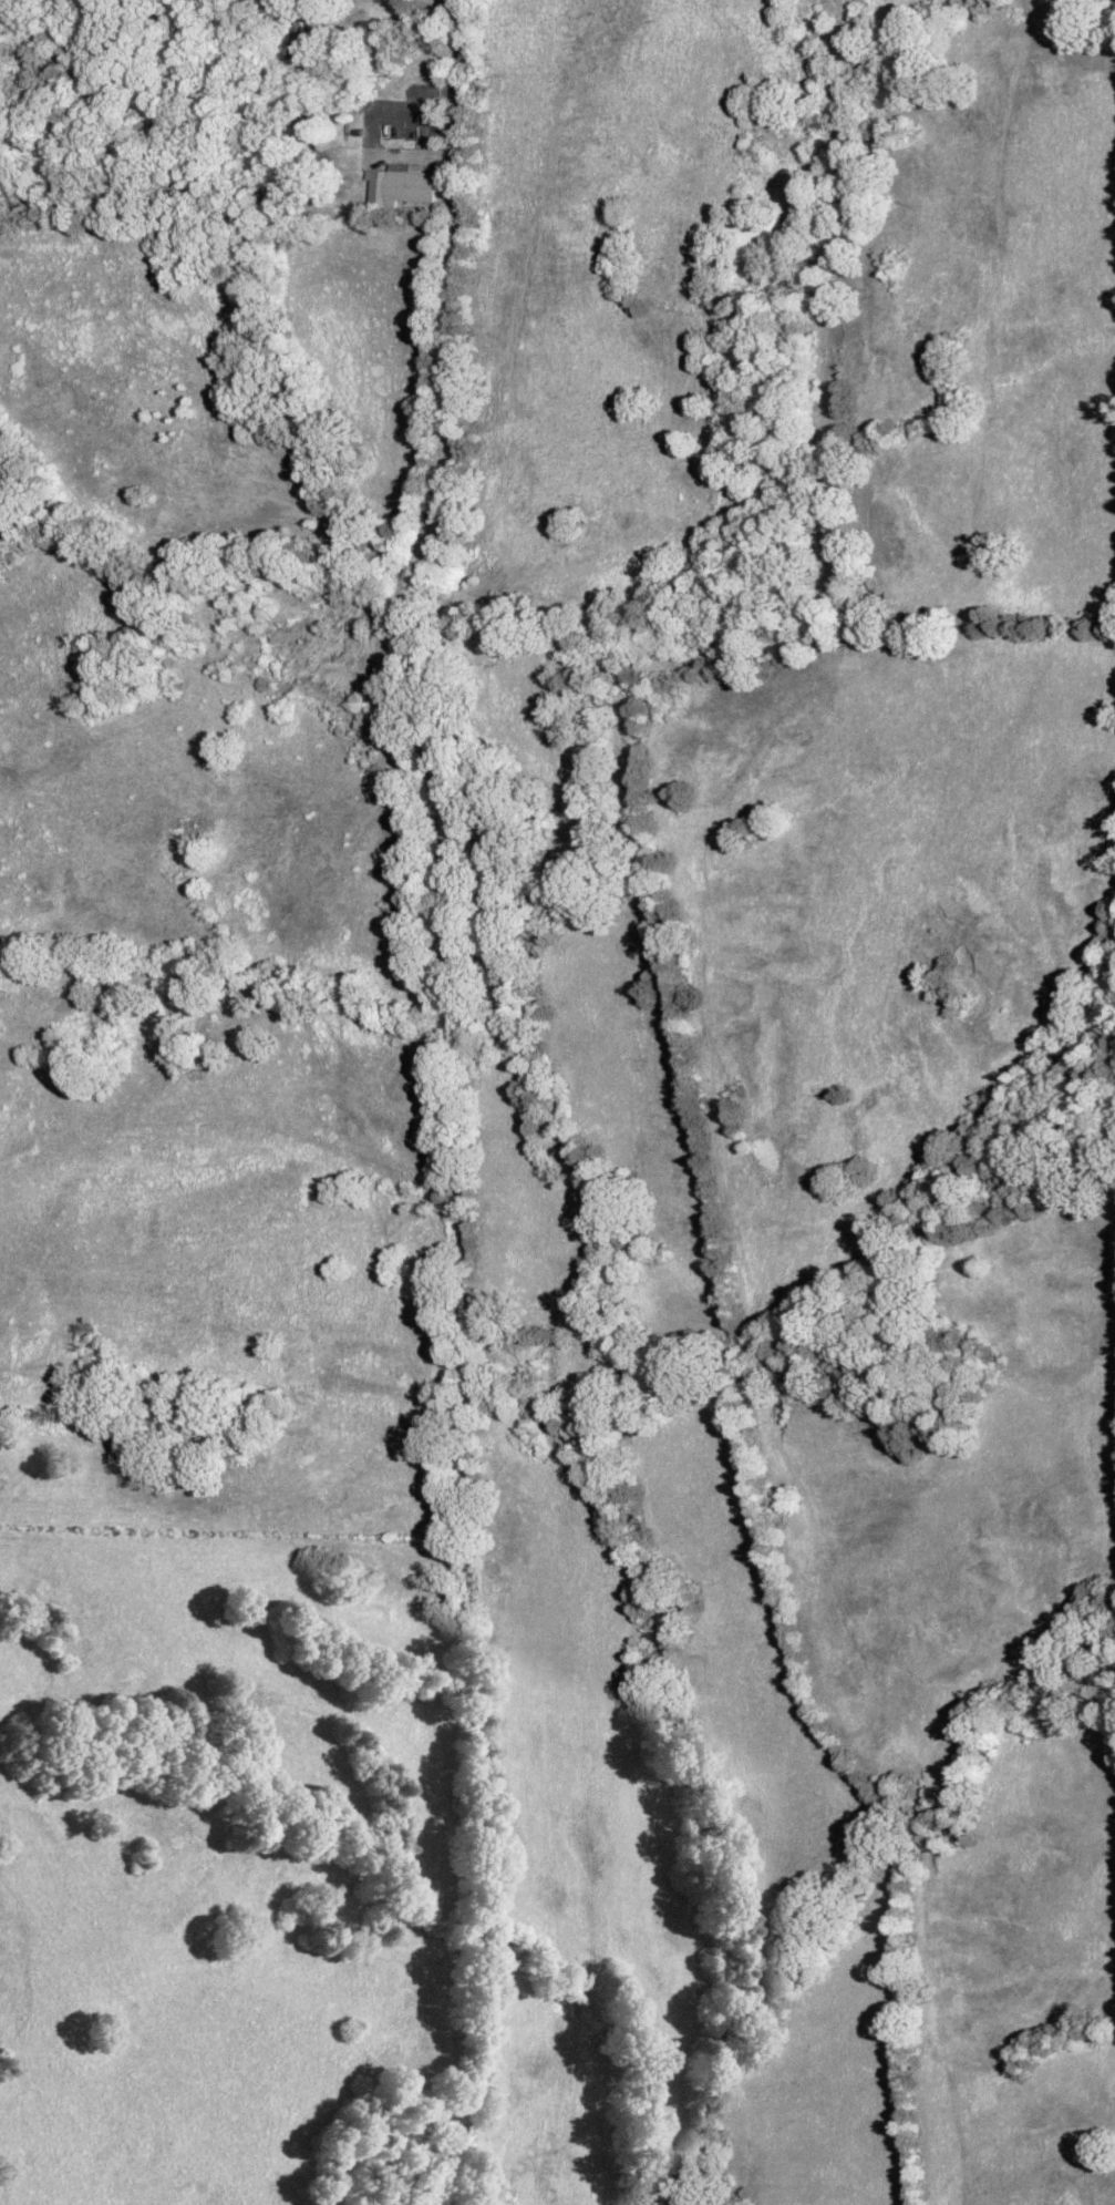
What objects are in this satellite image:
building: (299, 29)
building: (400, 184)
road: (458, 1137)

